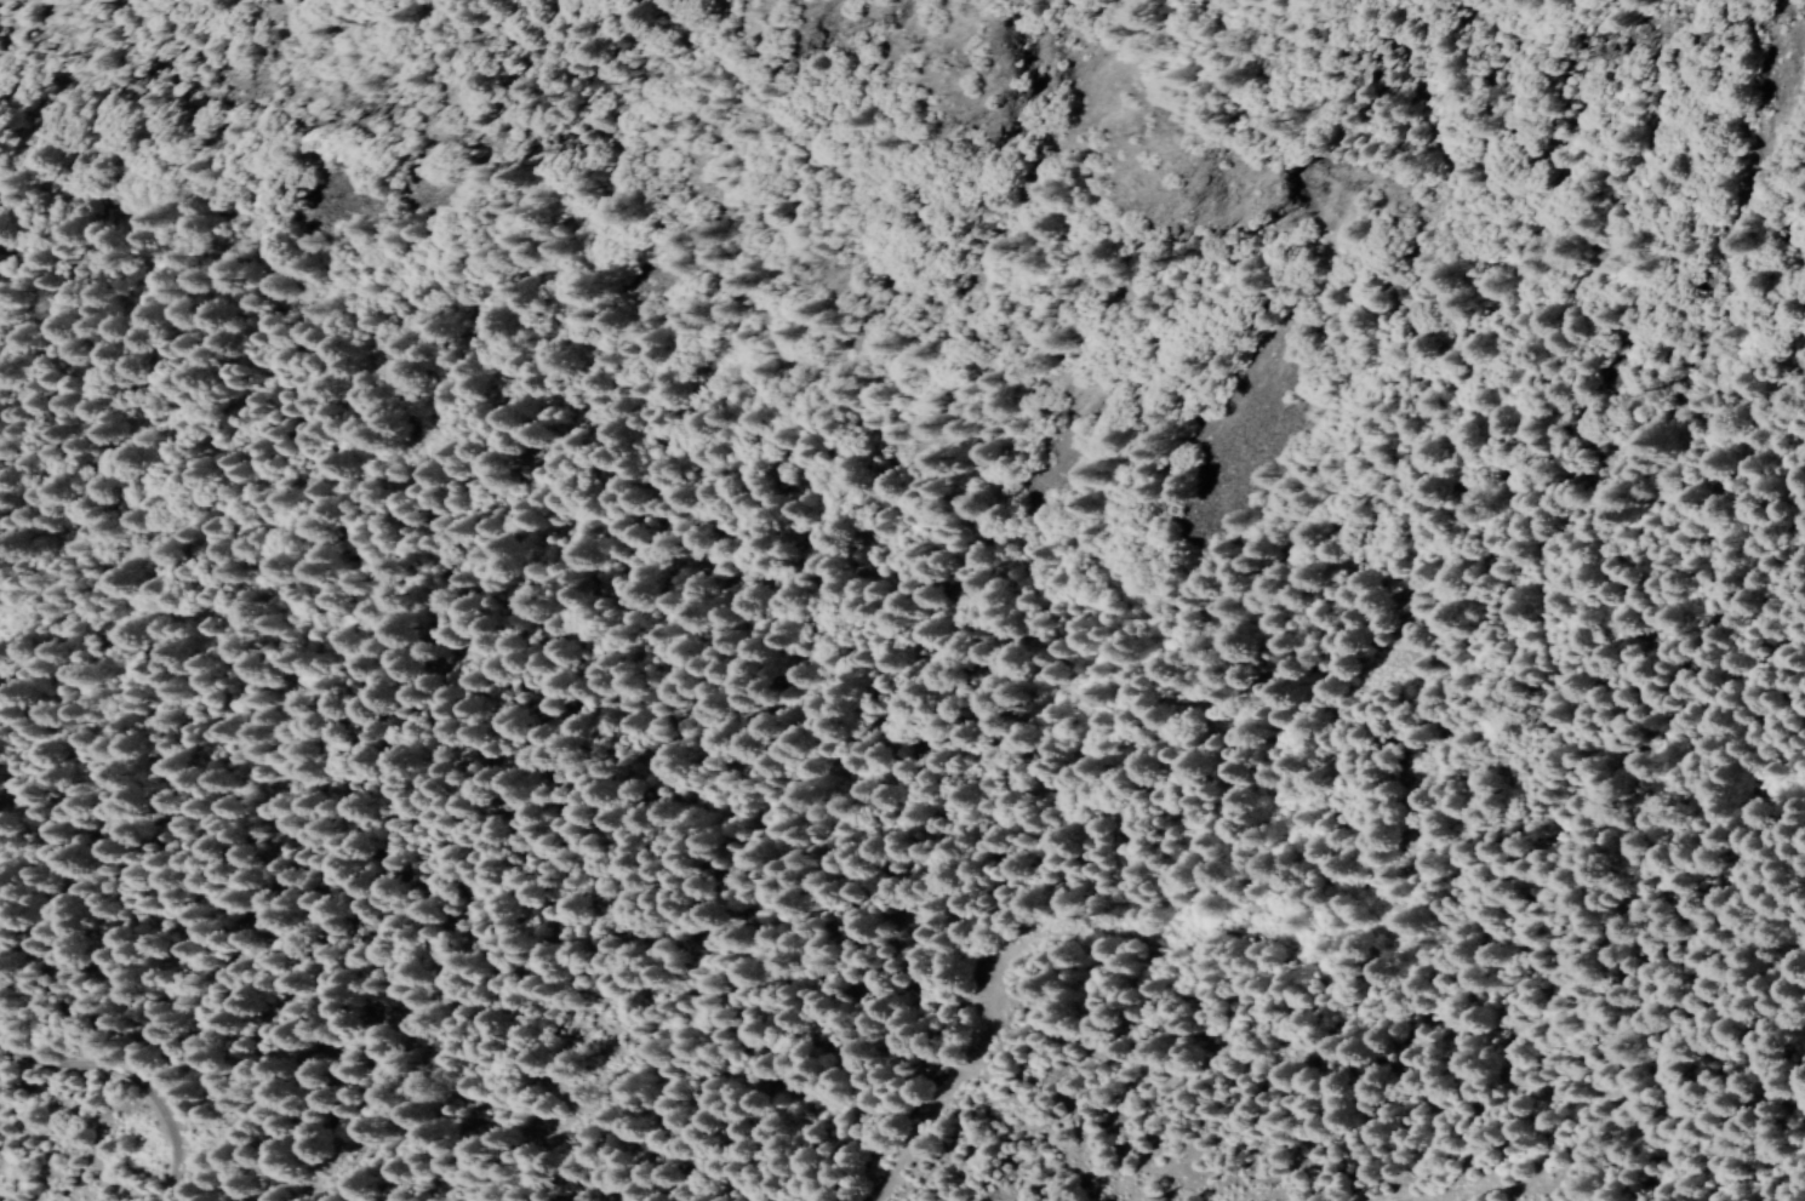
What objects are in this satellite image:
road: (128, 1082)

